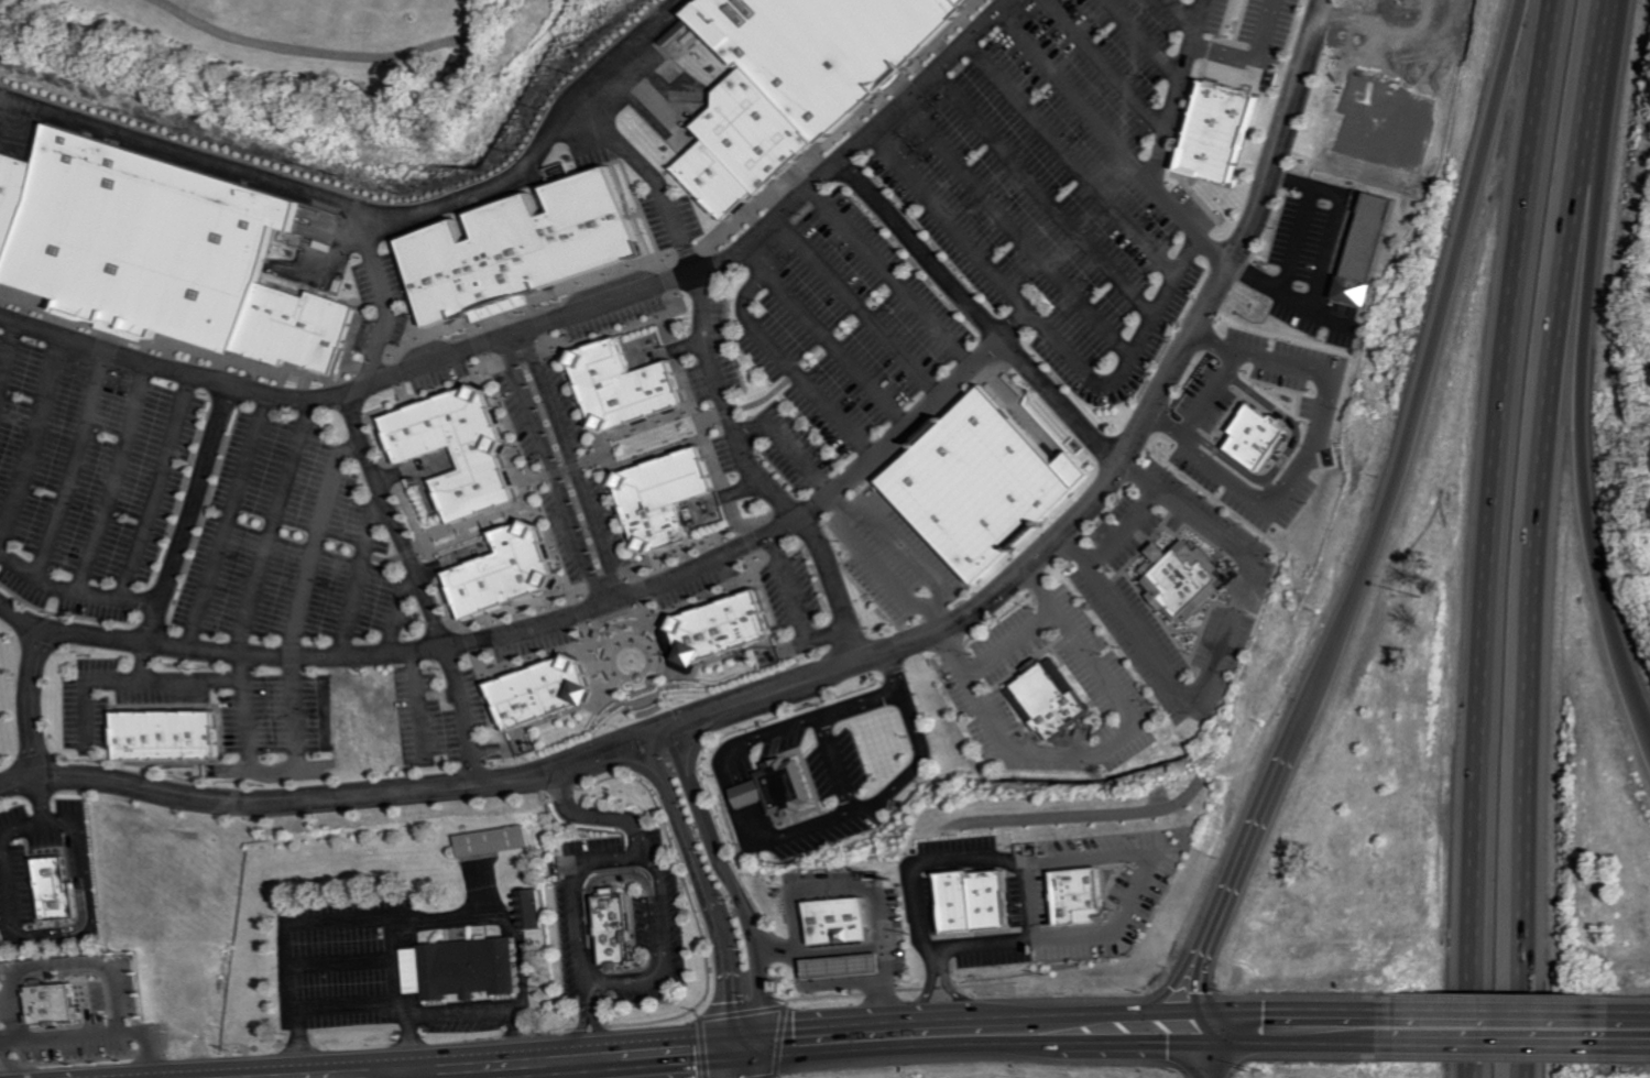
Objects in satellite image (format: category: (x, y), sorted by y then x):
building: (968, 1)
road: (1185, 14)
road: (1150, 40)
building: (828, 48)
road: (314, 50)
road: (1257, 58)
road: (1113, 66)
road: (1079, 97)
building: (754, 130)
building: (1226, 132)
road: (1166, 145)
road: (1072, 156)
road: (655, 174)
building: (715, 179)
road: (1043, 193)
building: (12, 199)
road: (381, 213)
road: (1016, 228)
road: (1335, 232)
building: (145, 239)
road: (1299, 241)
road: (915, 248)
building: (1370, 249)
building: (528, 250)
road: (886, 274)
road: (393, 296)
road: (851, 306)
road: (1320, 307)
road: (548, 324)
road: (1012, 324)
building: (301, 326)
road: (1041, 328)
road: (817, 334)
road: (10, 353)
road: (785, 366)
building: (631, 377)
road: (1213, 393)
road: (1055, 399)
road: (1583, 399)
road: (722, 402)
building: (1257, 437)
road: (33, 439)
road: (1408, 444)
building: (467, 447)
road: (1309, 453)
road: (75, 464)
road: (578, 464)
road: (558, 470)
parking lot: (90, 477)
road: (119, 478)
building: (974, 484)
road: (162, 489)
building: (664, 499)
road: (236, 520)
road: (1118, 529)
road: (190, 530)
road: (1491, 536)
road: (1540, 536)
parking lot: (297, 543)
road: (895, 548)
road: (871, 565)
building: (511, 571)
road: (363, 577)
building: (1173, 579)
road: (425, 585)
road: (830, 586)
road: (77, 592)
road: (793, 597)
road: (400, 612)
road: (539, 623)
building: (719, 629)
road: (1003, 641)
road: (1211, 651)
road: (837, 667)
fountain: (643, 676)
road: (138, 679)
building: (547, 693)
building: (1041, 699)
road: (40, 700)
road: (419, 706)
road: (828, 711)
building: (173, 736)
road: (703, 743)
road: (1093, 751)
road: (252, 769)
building: (788, 787)
building: (752, 794)
road: (594, 813)
road: (1056, 817)
road: (45, 826)
road: (801, 828)
building: (493, 840)
road: (610, 854)
road: (920, 864)
road: (736, 882)
building: (58, 886)
road: (12, 888)
road: (708, 889)
road: (837, 891)
building: (1080, 897)
building: (977, 903)
road: (1127, 906)
building: (529, 907)
road: (660, 914)
road: (368, 917)
building: (840, 922)
building: (612, 932)
road: (868, 948)
road: (1215, 950)
road: (1198, 954)
road: (392, 959)
road: (340, 963)
building: (844, 967)
gas station: (844, 967)
building: (459, 969)
road: (578, 969)
road: (589, 995)
building: (54, 1004)
road: (356, 1005)
road: (461, 1021)
road: (1320, 1025)
traffic signals: (1233, 1026)
road: (1501, 1026)
road: (1622, 1027)
traffic signals: (1140, 1030)
road: (600, 1033)
road: (578, 1034)
road: (91, 1035)
road: (900, 1036)
traffic signals: (747, 1045)
road: (1177, 1046)
road: (1222, 1050)
road: (747, 1061)
road: (1, 1064)
road: (413, 1070)
road: (408, 1075)

